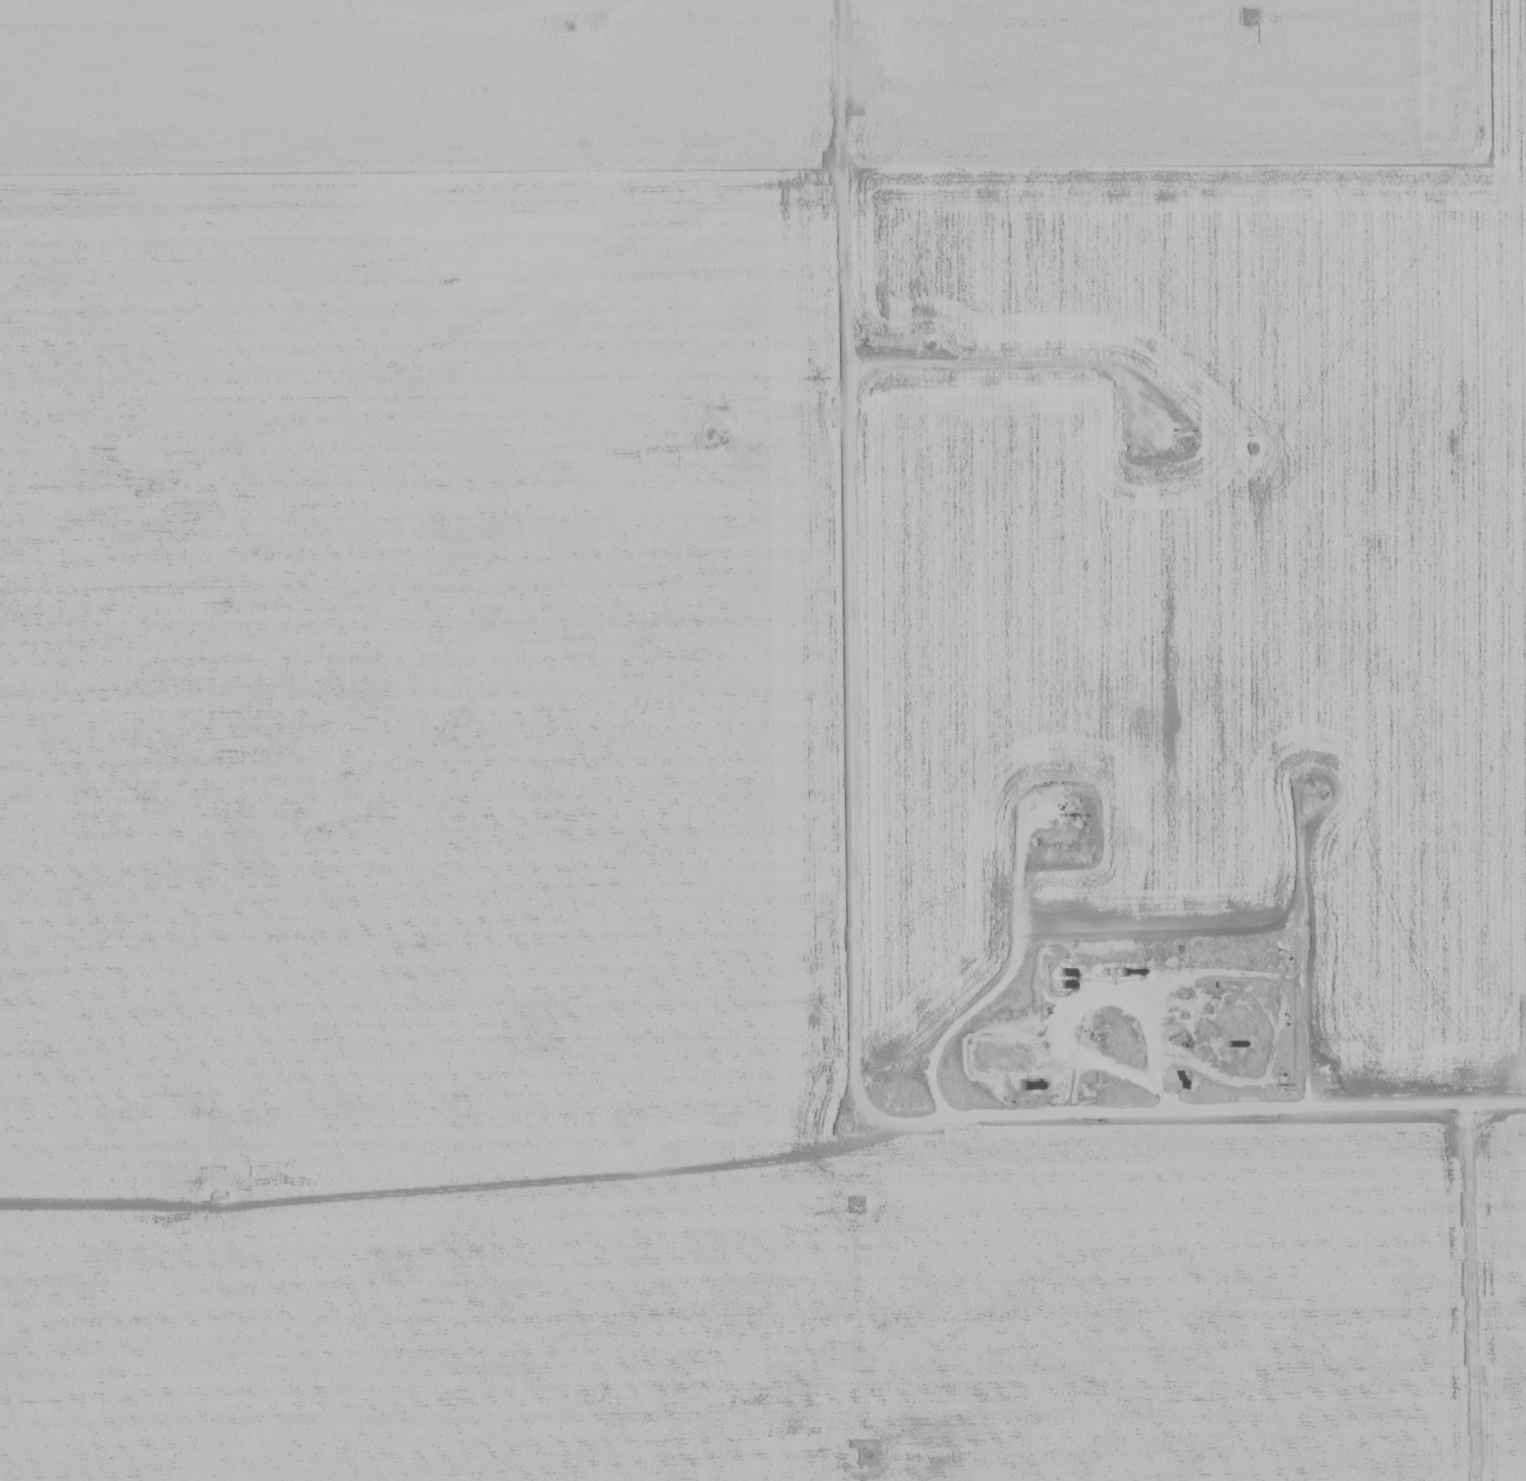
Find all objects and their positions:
road: (847, 564)
building: (1105, 970)
building: (1113, 970)
building: (1122, 970)
building: (1060, 971)
building: (1060, 983)
building: (1227, 1042)
building: (1226, 1059)
building: (1173, 1079)
building: (1020, 1084)
road: (1201, 1113)

